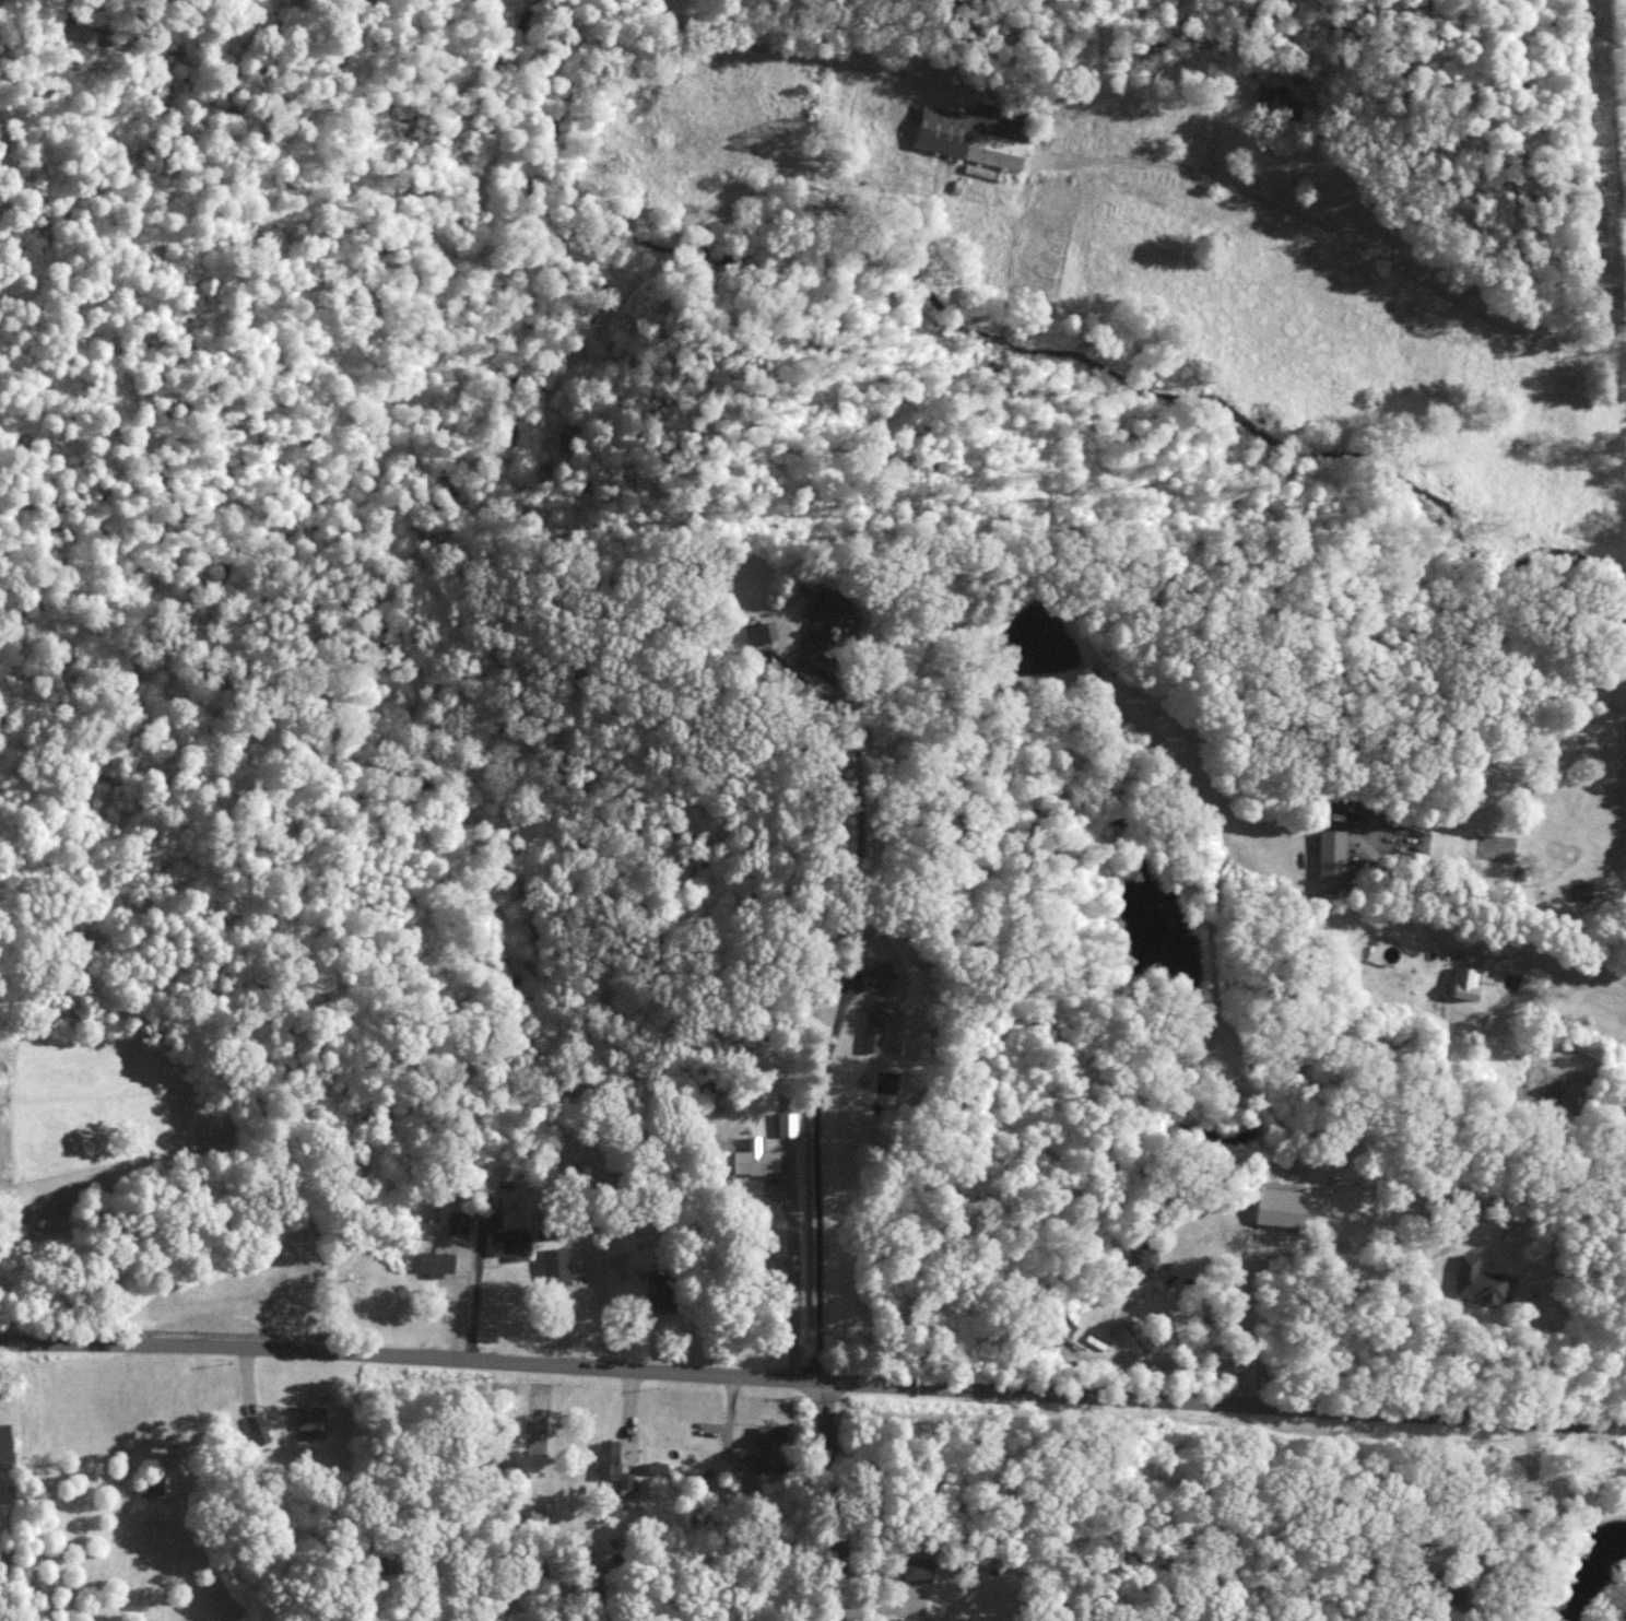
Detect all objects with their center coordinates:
building: (1273, 101)
road: (1216, 125)
building: (961, 138)
road: (1329, 226)
building: (827, 626)
building: (763, 633)
building: (1325, 858)
road: (1529, 963)
road: (902, 967)
building: (881, 973)
building: (875, 1026)
road: (830, 1035)
building: (789, 1123)
building: (759, 1158)
building: (1273, 1207)
building: (458, 1221)
building: (550, 1226)
building: (512, 1243)
building: (1146, 1257)
building: (437, 1260)
building: (557, 1264)
road: (1259, 1270)
road: (792, 1276)
road: (478, 1278)
building: (1473, 1281)
building: (664, 1292)
road: (601, 1305)
road: (1118, 1320)
road: (813, 1378)
road: (255, 1388)
building: (314, 1418)
building: (259, 1429)
building: (5, 1441)
building: (769, 1448)
building: (614, 1464)
building: (657, 1468)
building: (154, 1484)
road: (829, 1500)
building: (919, 1619)

